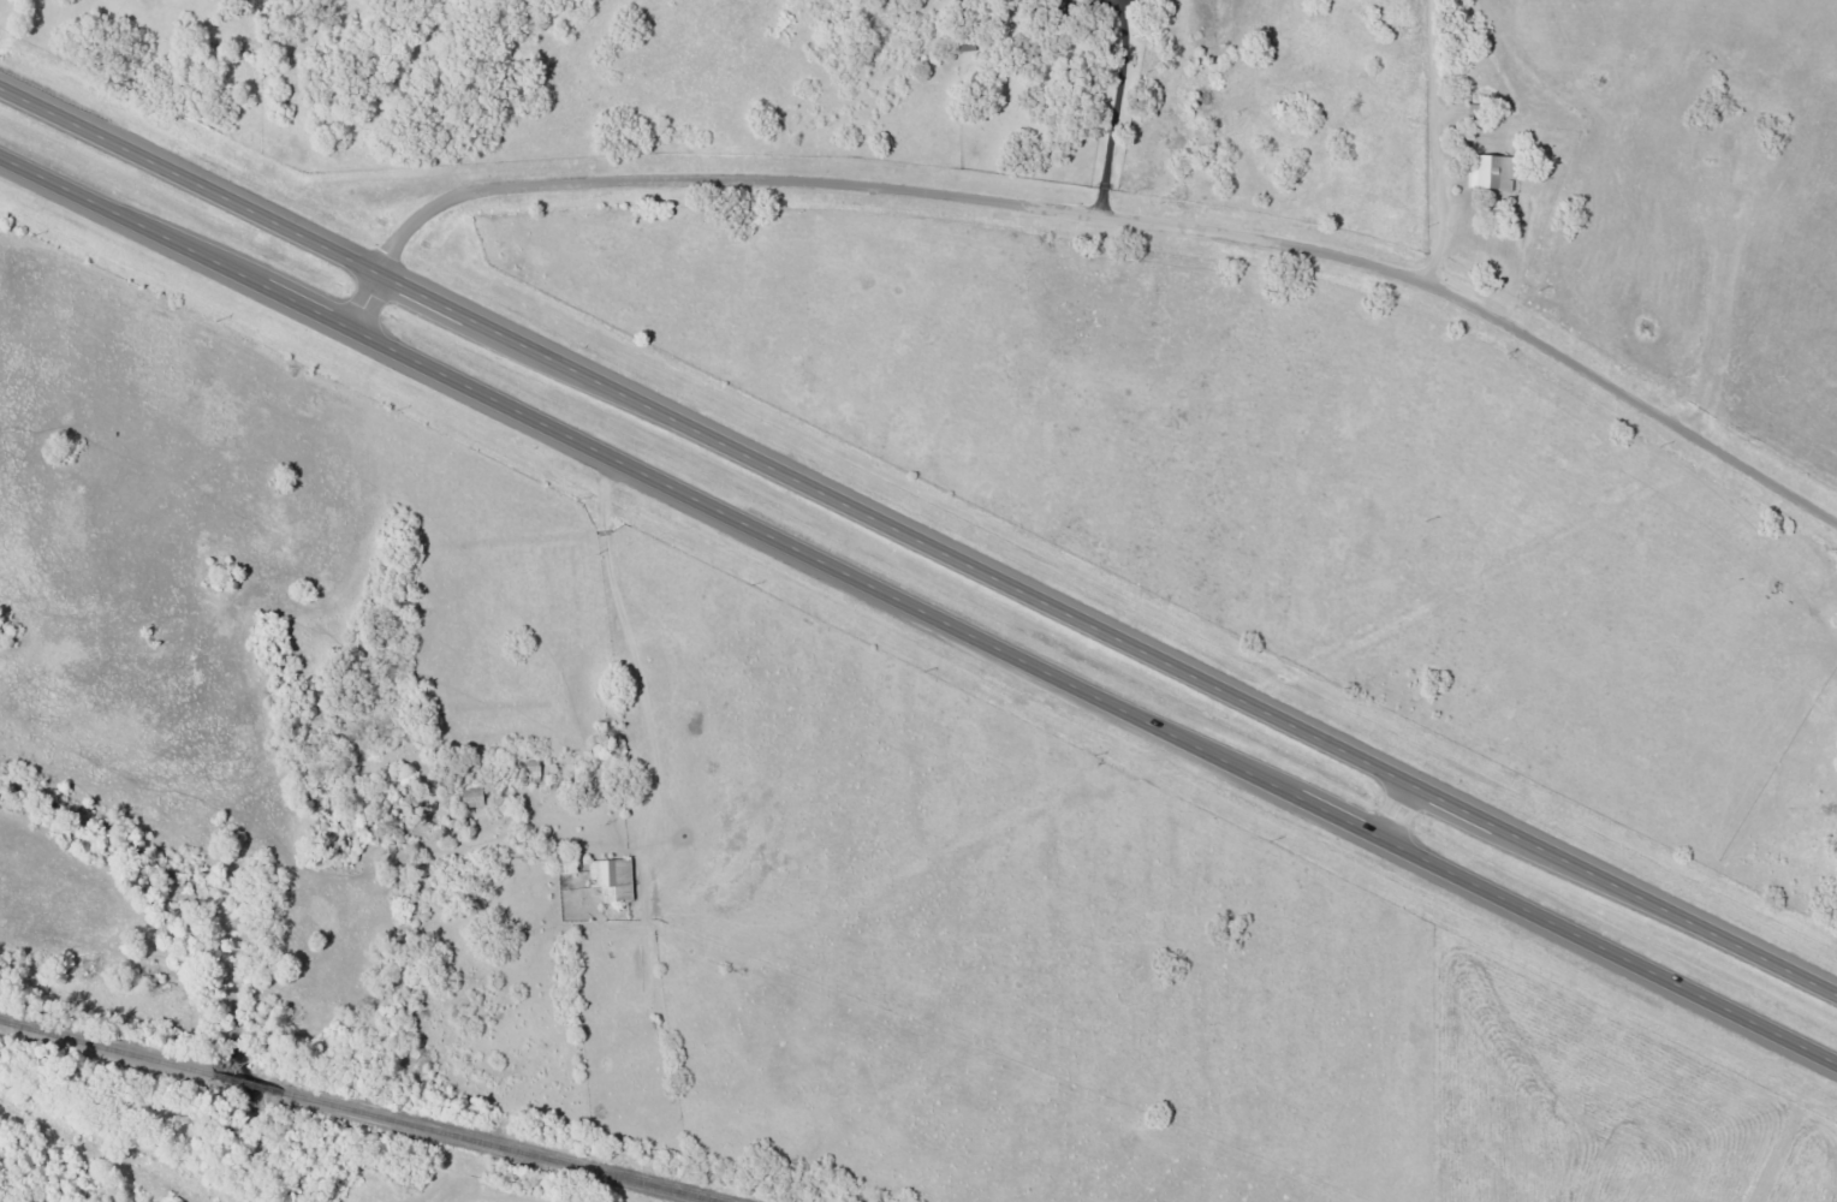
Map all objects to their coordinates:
road: (1441, 142)
building: (1494, 173)
road: (1090, 209)
road: (917, 543)
road: (920, 609)
building: (471, 797)
road: (1396, 815)
building: (612, 879)
railway: (353, 1113)

